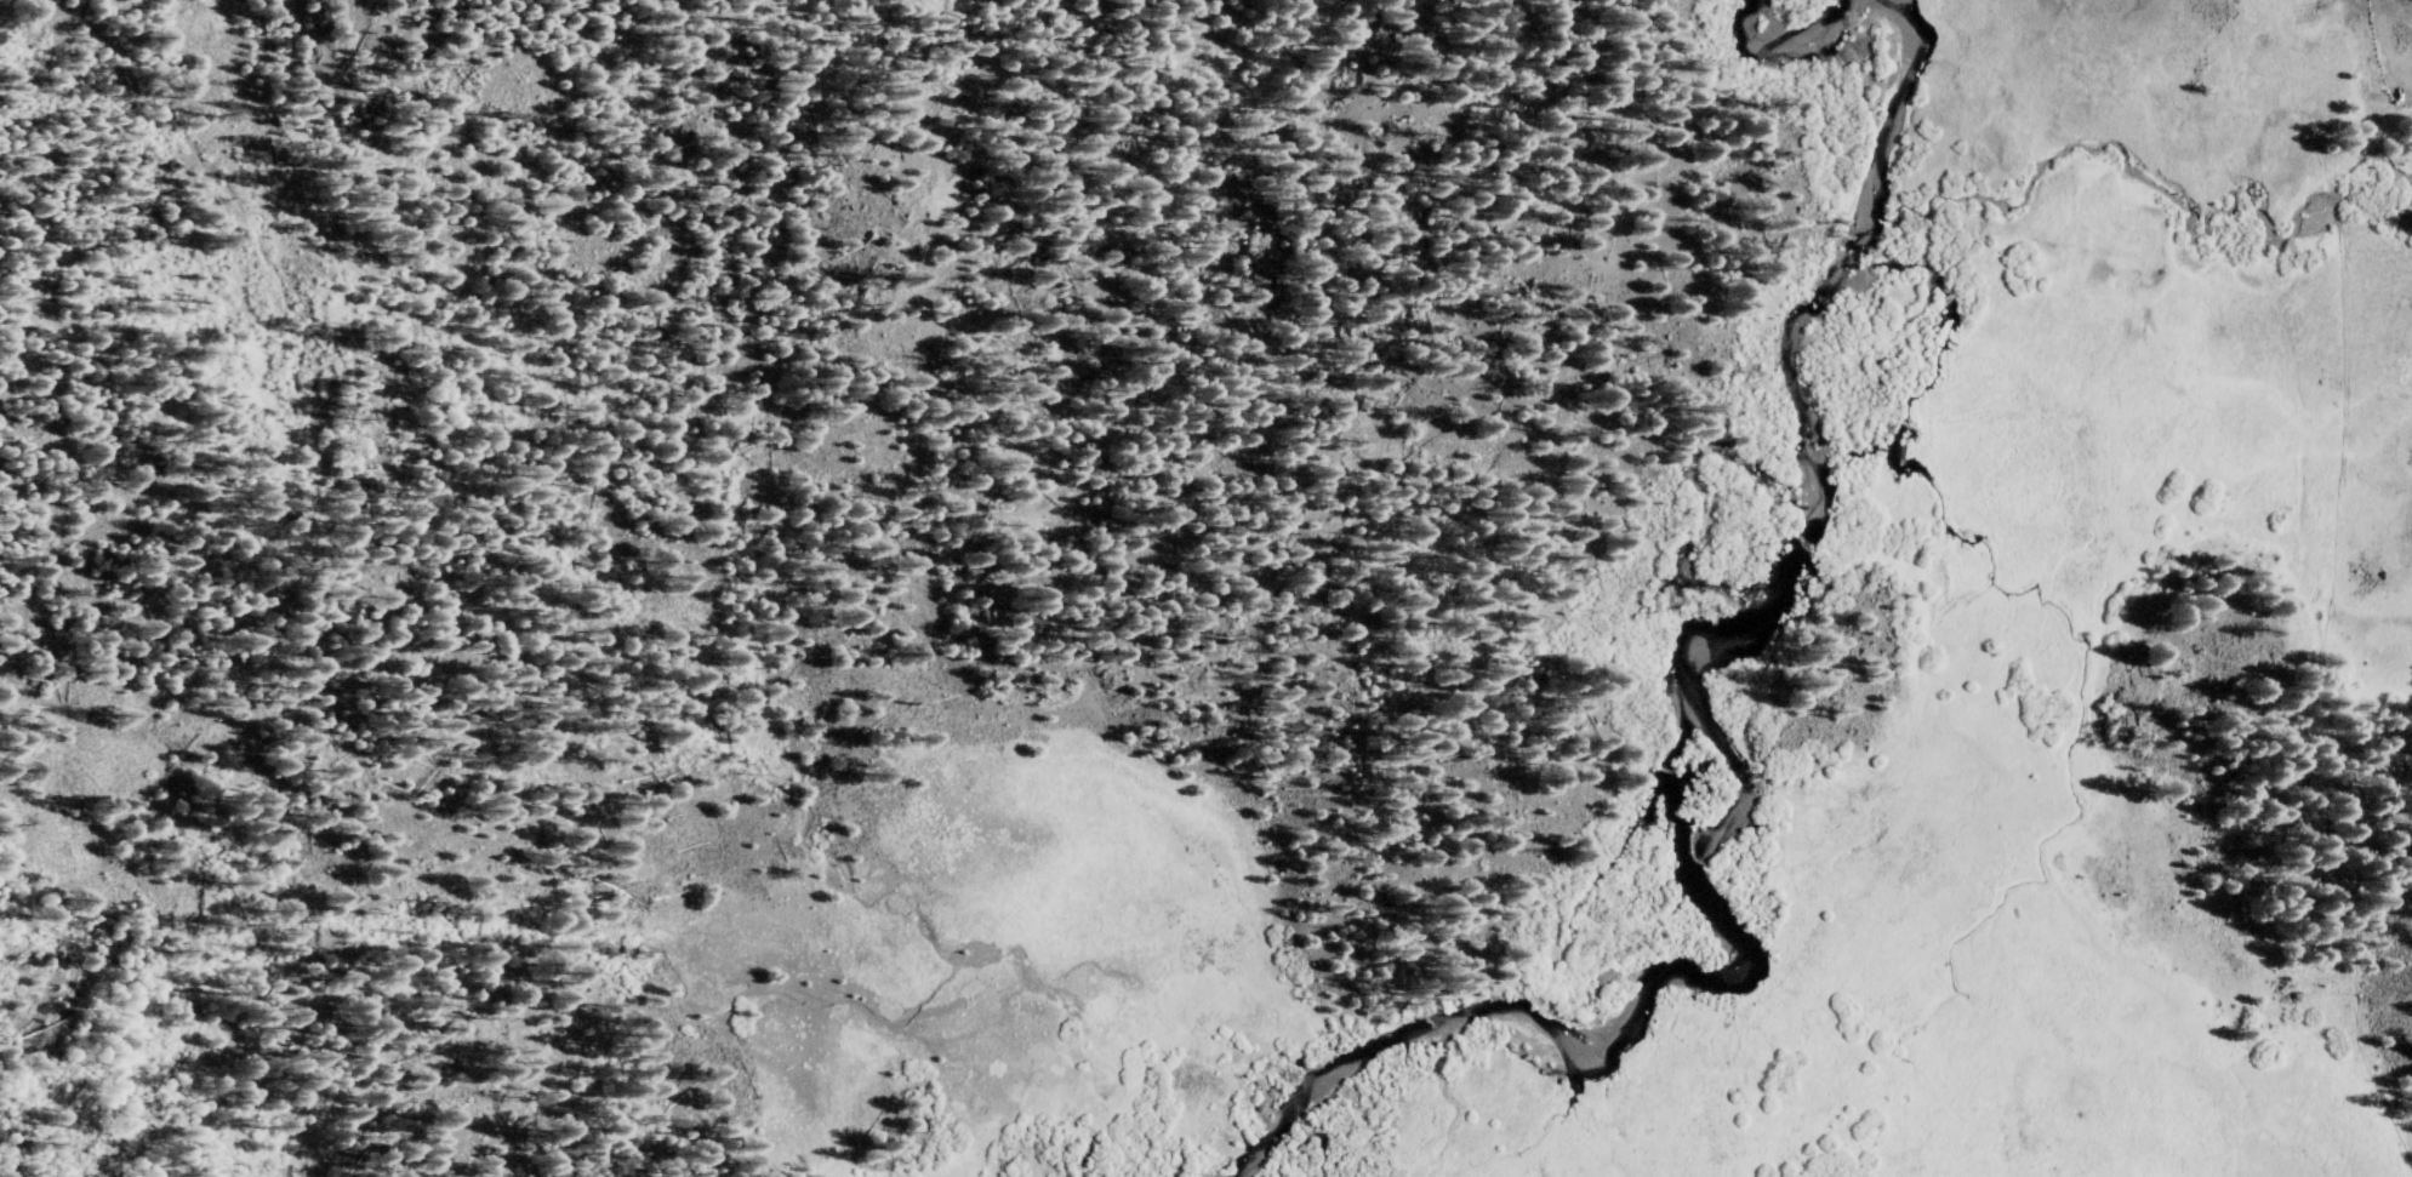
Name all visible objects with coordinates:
road: (2400, 13)
river: (1773, 42)
road: (2385, 46)
road: (2330, 584)
river: (1716, 738)

